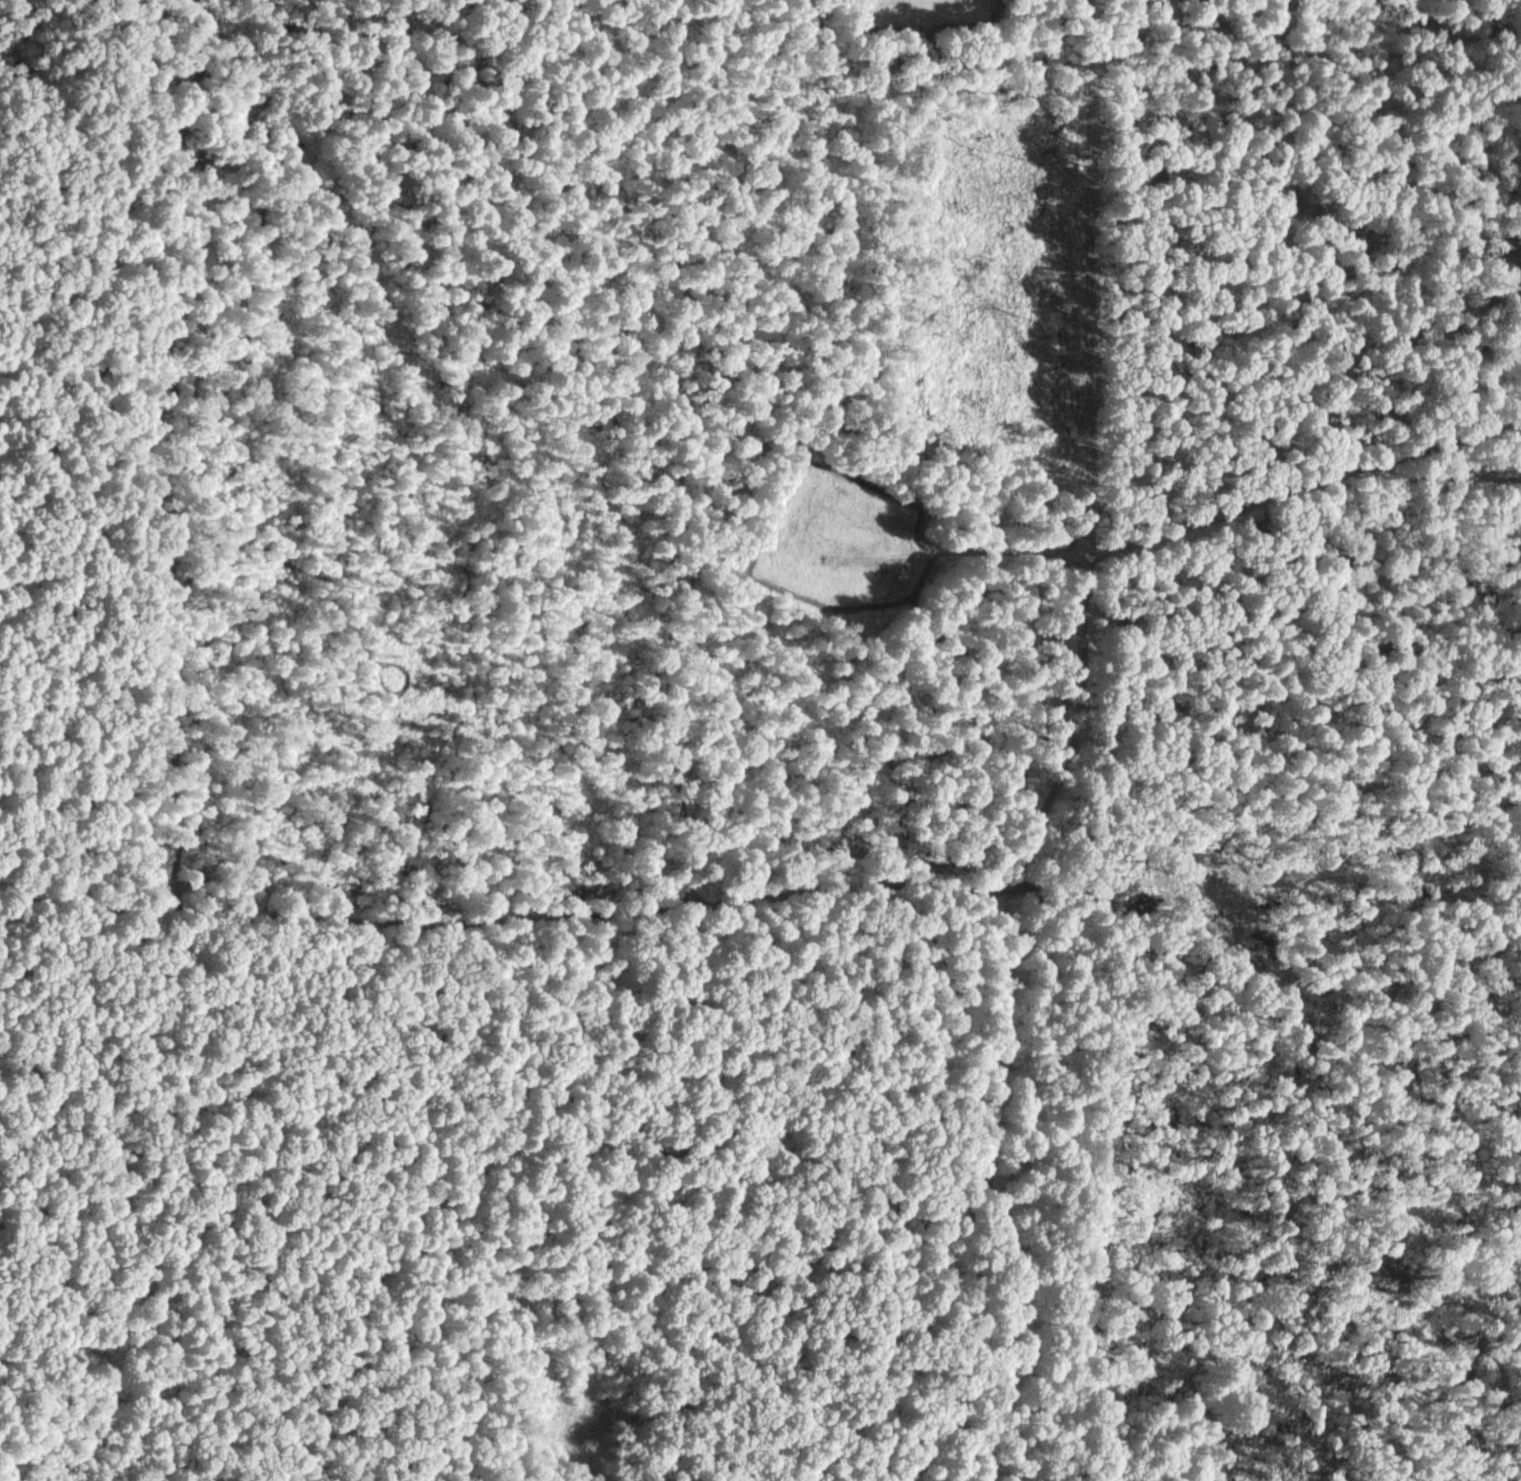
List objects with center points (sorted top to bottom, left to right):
road: (1482, 257)
road: (954, 886)

